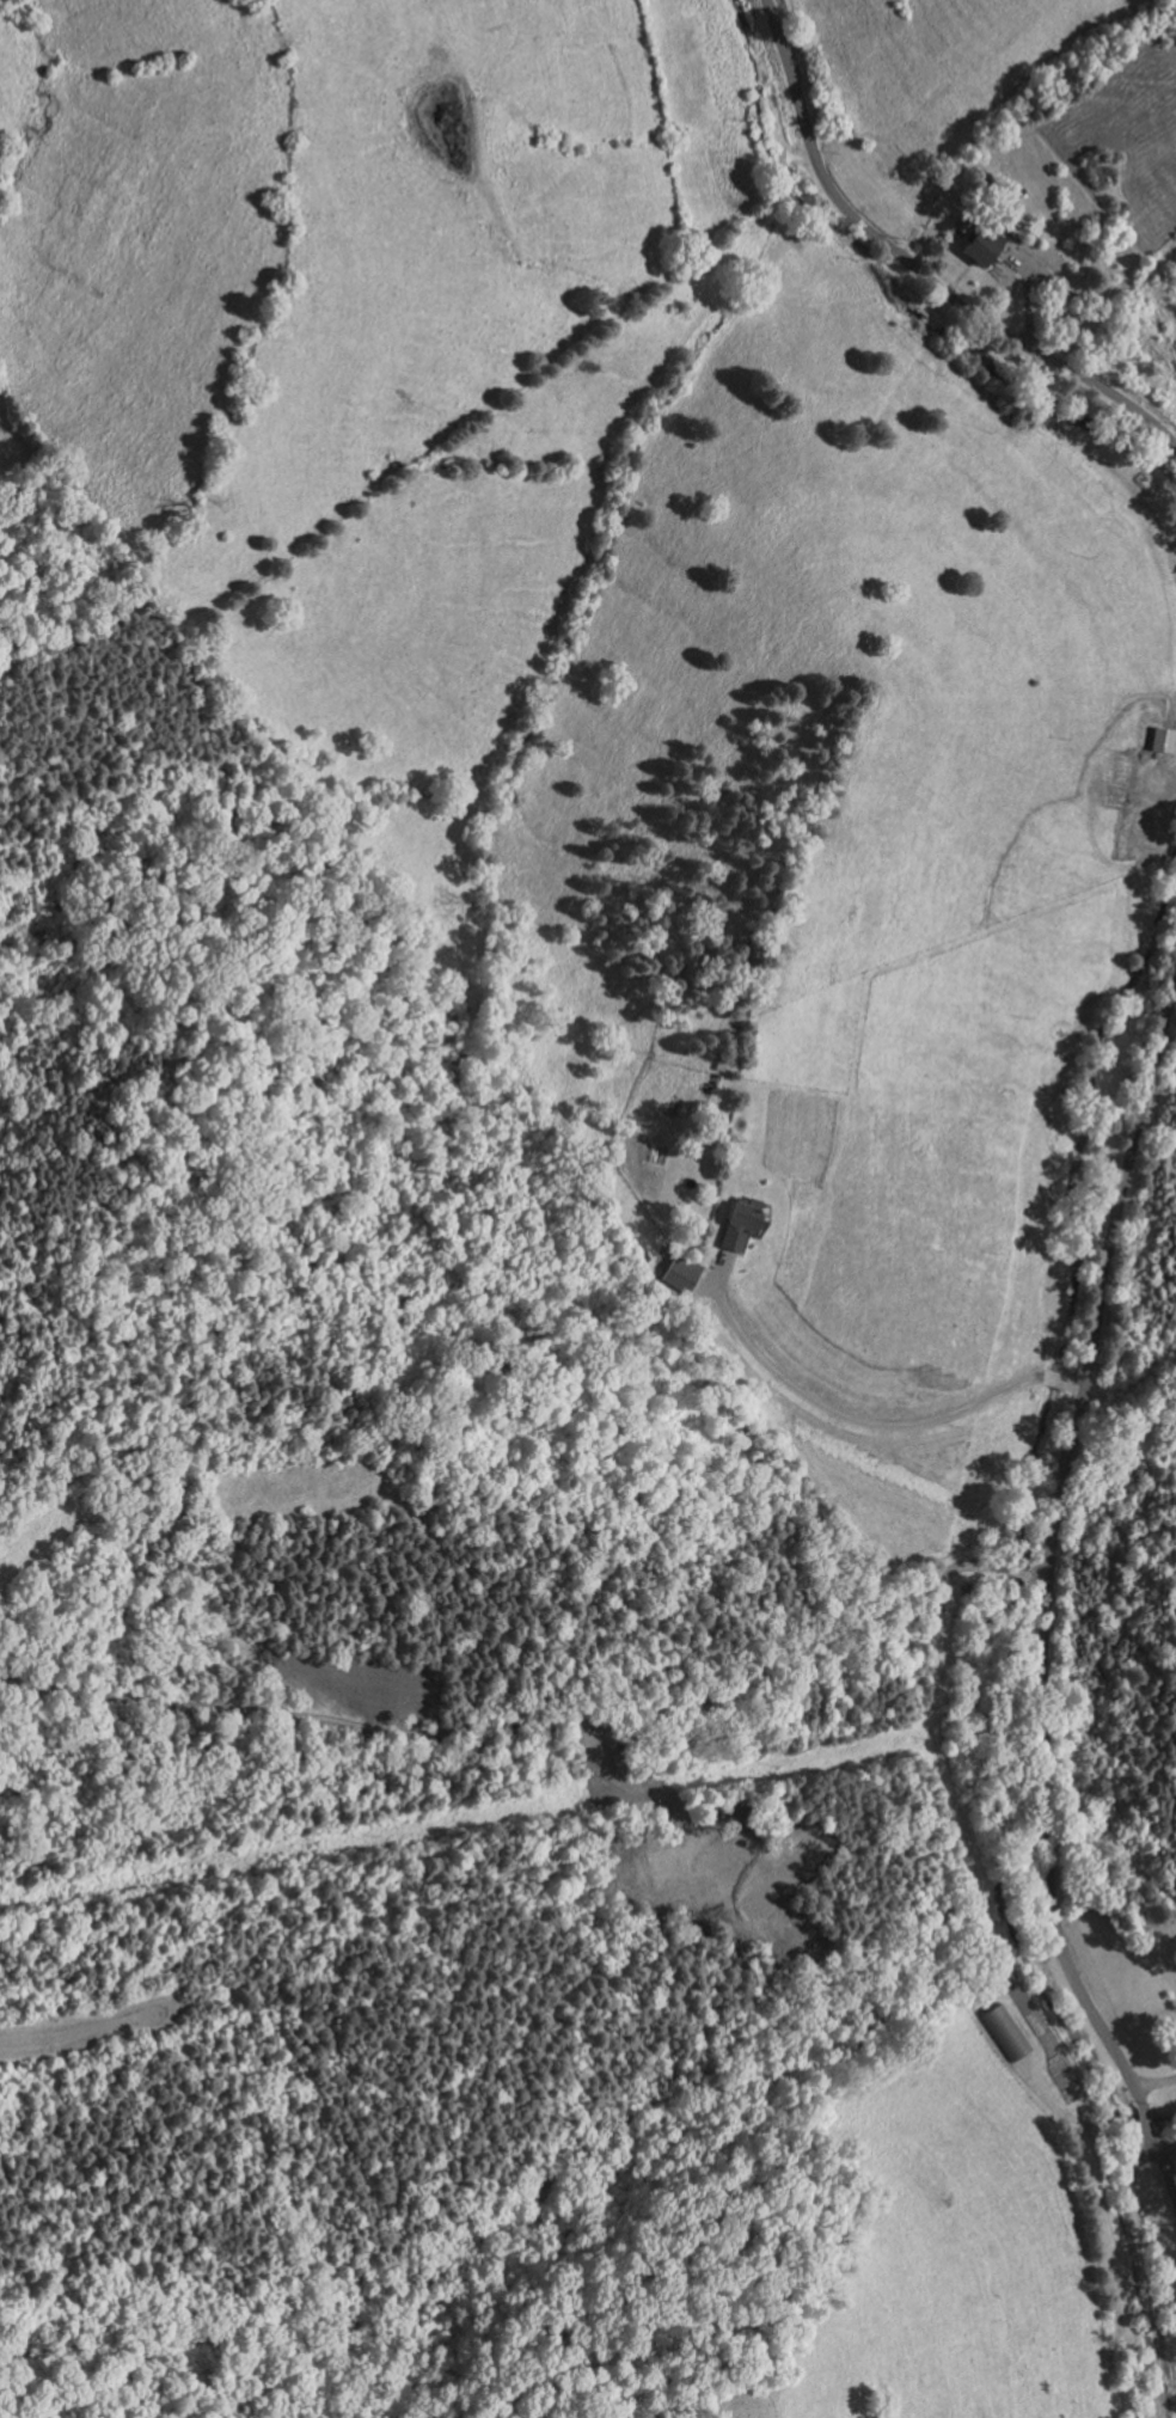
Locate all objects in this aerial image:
building: (986, 244)
road: (917, 265)
road: (1042, 275)
road: (1029, 290)
building: (1166, 737)
building: (722, 1066)
building: (743, 1219)
building: (684, 1272)
road: (710, 1286)
road: (1061, 1379)
road: (1080, 1384)
road: (838, 1410)
road: (1052, 1548)
road: (1019, 1572)
road: (1039, 1577)
road: (521, 1725)
building: (1009, 2032)
road: (1154, 2082)
road: (1145, 2113)
road: (1159, 2156)
road: (1107, 2226)
road: (1147, 2278)

